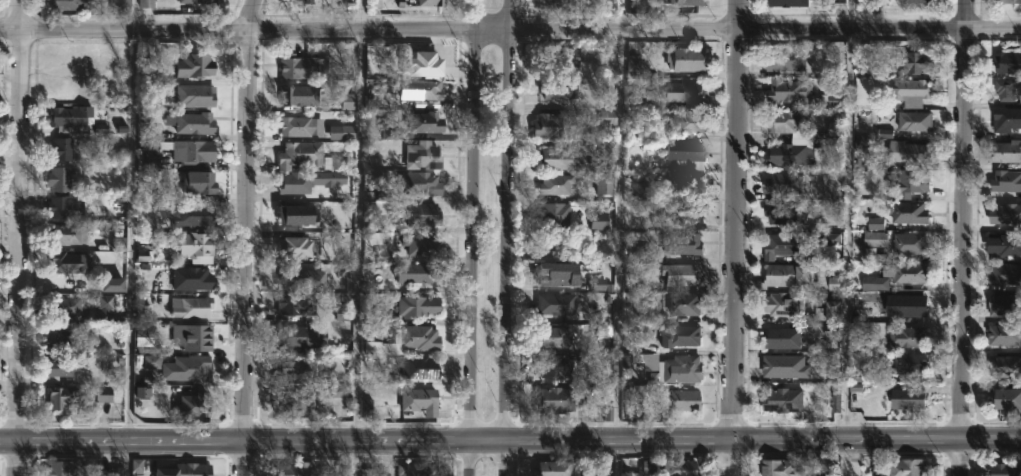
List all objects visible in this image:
building: (309, 0)
building: (449, 0)
building: (200, 1)
building: (919, 1)
building: (1007, 1)
building: (432, 2)
building: (554, 2)
building: (692, 2)
building: (784, 3)
building: (74, 4)
building: (120, 5)
road: (361, 14)
road: (623, 14)
road: (510, 28)
building: (426, 55)
building: (557, 55)
building: (111, 58)
building: (687, 59)
building: (784, 60)
building: (911, 62)
building: (1006, 62)
building: (196, 65)
building: (632, 65)
building: (302, 66)
building: (427, 89)
building: (555, 90)
building: (785, 90)
building: (1003, 90)
building: (682, 91)
building: (909, 92)
building: (196, 95)
building: (300, 95)
building: (71, 115)
building: (609, 120)
building: (1005, 120)
building: (428, 121)
building: (912, 121)
building: (683, 122)
building: (197, 123)
building: (301, 126)
building: (552, 126)
building: (800, 141)
building: (64, 148)
building: (610, 150)
building: (684, 150)
building: (1005, 151)
building: (194, 152)
building: (906, 152)
building: (302, 154)
building: (424, 155)
building: (553, 158)
building: (336, 162)
building: (60, 178)
building: (910, 180)
building: (688, 181)
building: (1004, 181)
building: (202, 182)
building: (308, 182)
building: (601, 182)
building: (782, 183)
building: (552, 184)
building: (421, 186)
building: (150, 188)
building: (67, 206)
building: (783, 212)
building: (902, 212)
building: (303, 213)
building: (552, 213)
building: (690, 213)
building: (1004, 214)
building: (424, 215)
building: (194, 216)
road: (359, 233)
building: (72, 234)
road: (130, 234)
road: (17, 237)
road: (247, 237)
road: (508, 237)
road: (736, 237)
road: (962, 237)
road: (475, 238)
road: (847, 238)
building: (872, 239)
building: (422, 243)
building: (684, 243)
building: (197, 244)
building: (908, 244)
building: (792, 245)
building: (1002, 246)
building: (296, 248)
road: (620, 252)
building: (72, 262)
building: (420, 274)
building: (556, 274)
building: (784, 275)
building: (905, 275)
building: (1003, 277)
building: (678, 278)
building: (192, 279)
building: (299, 280)
building: (552, 303)
building: (297, 304)
building: (681, 304)
building: (782, 304)
building: (418, 305)
building: (905, 305)
building: (1003, 305)
building: (72, 307)
building: (106, 307)
building: (194, 307)
building: (826, 311)
building: (304, 335)
building: (676, 335)
building: (1003, 335)
building: (420, 336)
building: (198, 337)
building: (551, 337)
building: (906, 337)
building: (65, 338)
building: (780, 338)
building: (642, 360)
building: (907, 363)
building: (553, 366)
building: (62, 367)
building: (299, 367)
building: (420, 367)
building: (1004, 367)
building: (193, 368)
building: (680, 368)
building: (786, 369)
building: (64, 398)
building: (553, 399)
building: (906, 399)
building: (1005, 399)
building: (421, 400)
building: (681, 400)
building: (780, 400)
building: (298, 403)
building: (194, 405)
road: (510, 438)
road: (126, 457)
road: (356, 457)
building: (635, 467)
building: (903, 467)
building: (64, 468)
building: (550, 468)
building: (683, 468)
building: (777, 468)
building: (293, 469)
building: (420, 469)
building: (1003, 469)
building: (188, 470)
building: (111, 472)
building: (368, 473)

